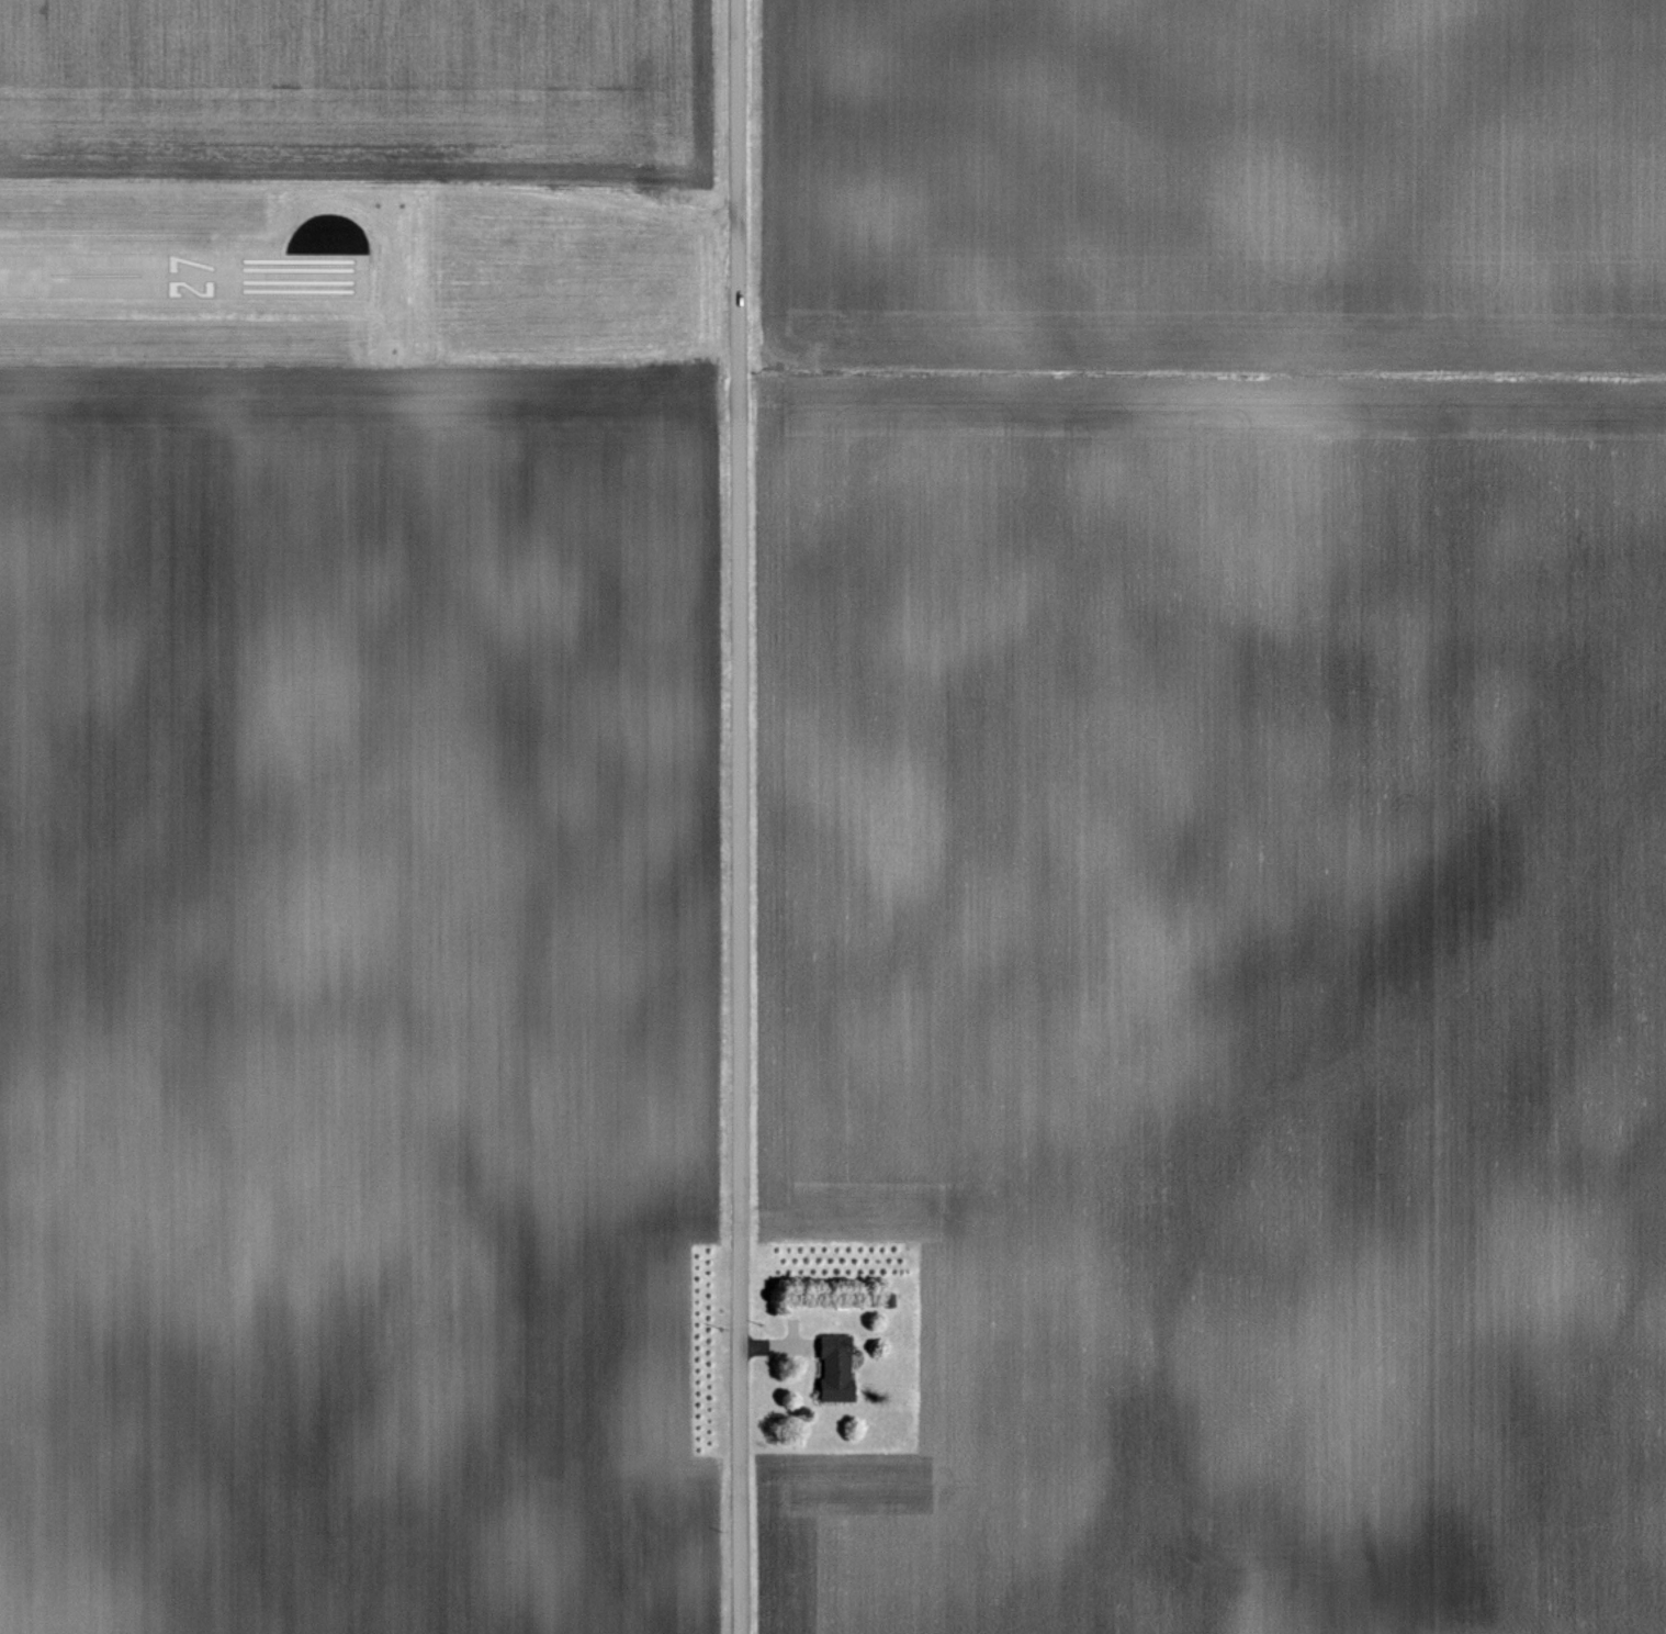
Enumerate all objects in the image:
airport: (339, 272)
airport runway: (179, 273)
road: (739, 817)

